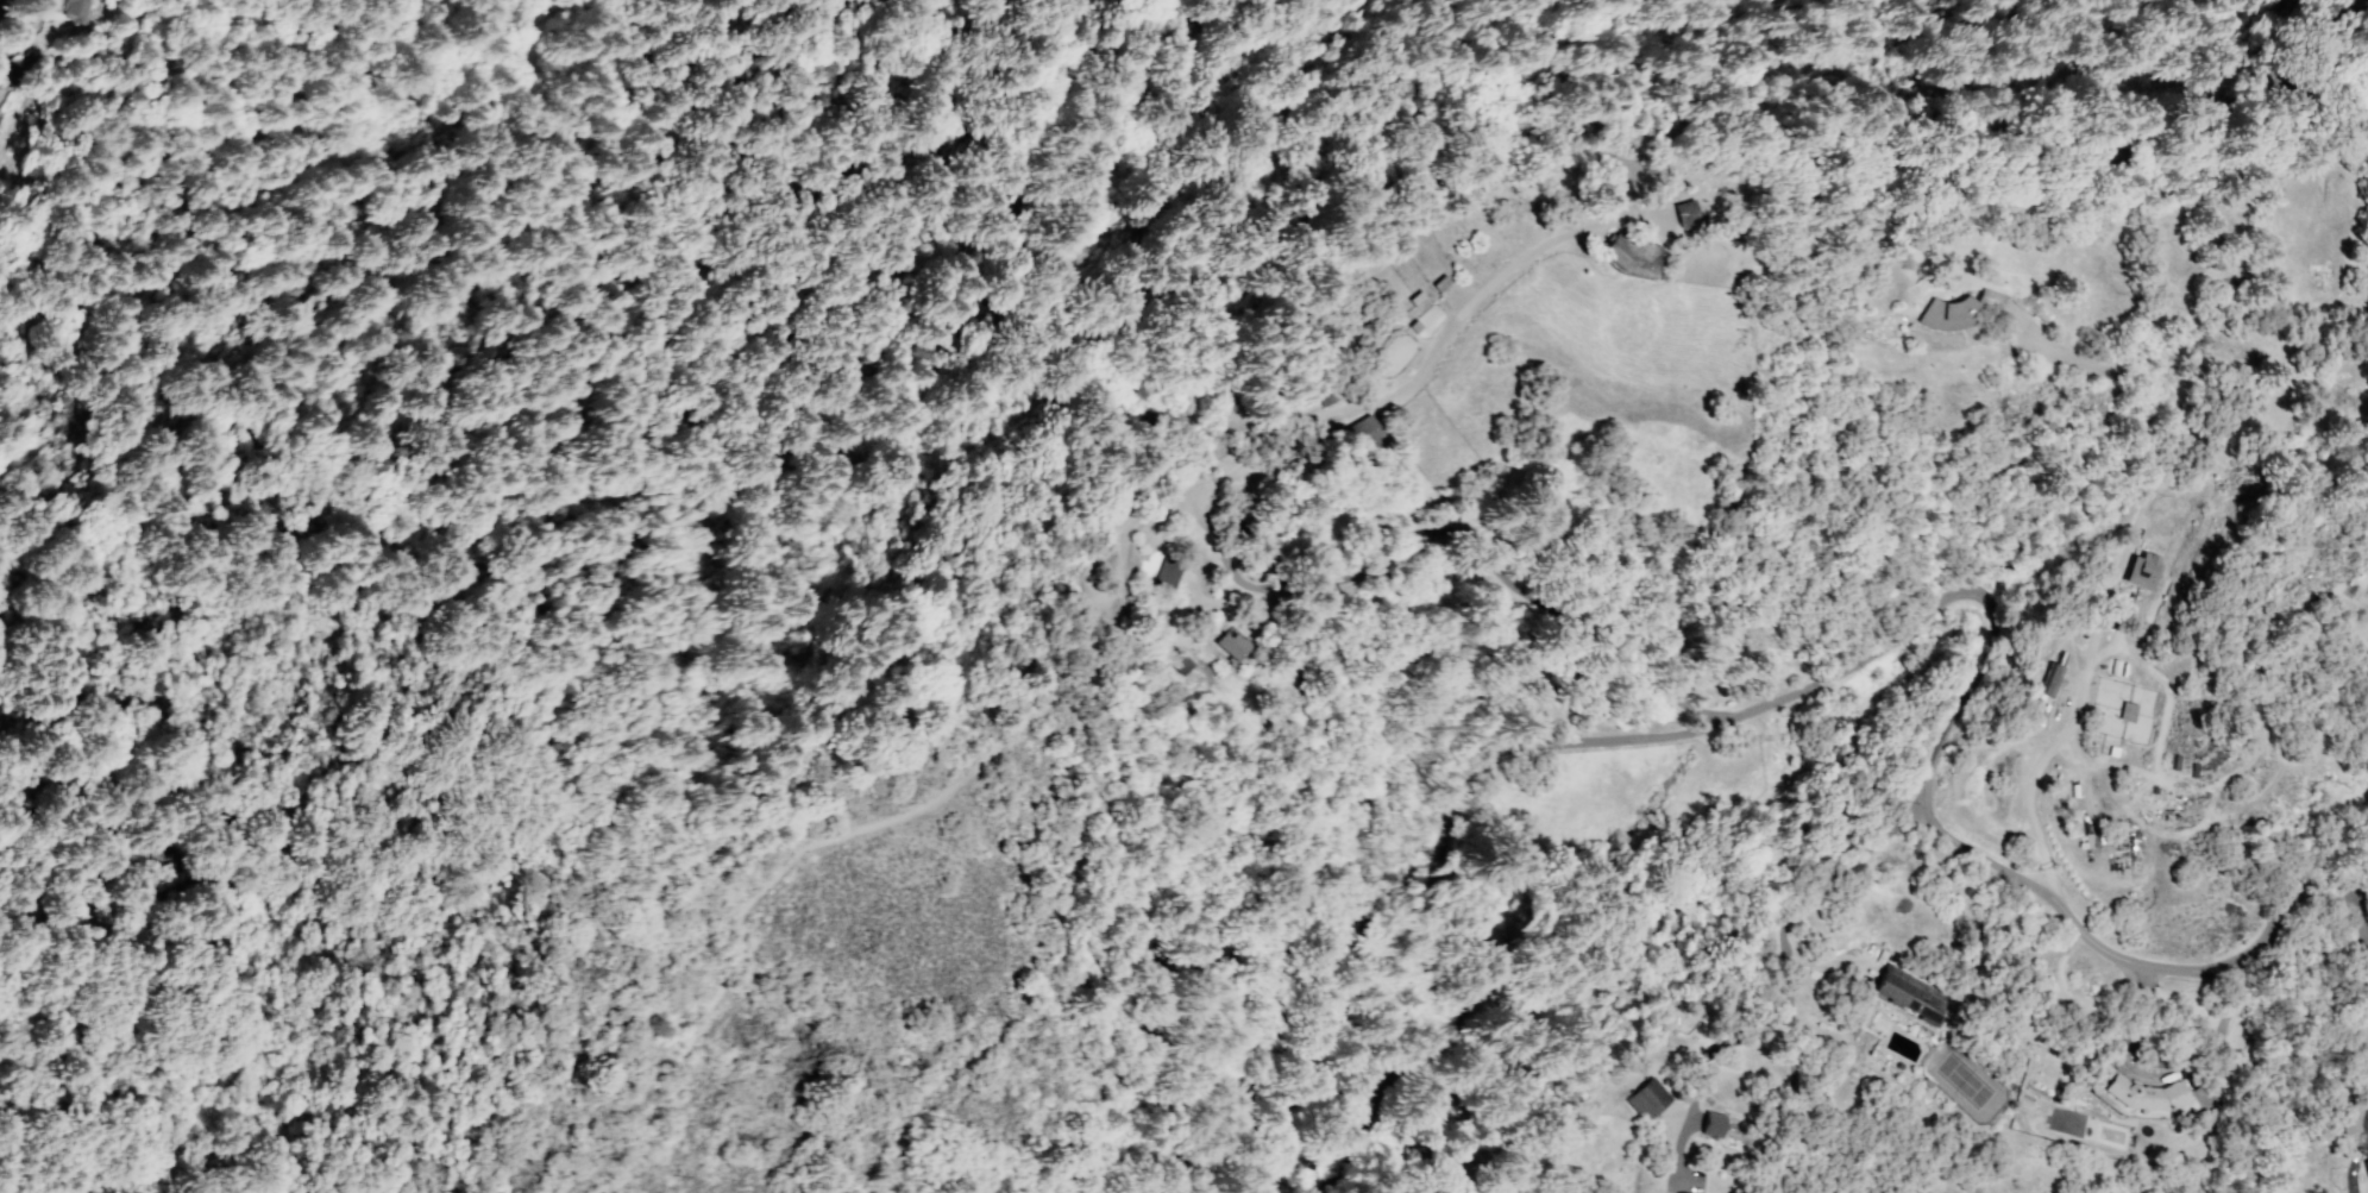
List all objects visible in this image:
road: (1440, 10)
building: (74, 11)
road: (521, 19)
road: (17, 29)
road: (232, 132)
building: (1683, 213)
road: (1267, 230)
building: (1627, 255)
building: (1961, 309)
road: (1438, 360)
building: (1362, 429)
road: (1441, 532)
road: (2122, 553)
building: (2142, 571)
building: (1229, 645)
building: (1180, 663)
road: (1986, 668)
building: (2047, 679)
crop: (2129, 777)
road: (859, 815)
road: (2331, 837)
road: (1785, 967)
building: (1908, 994)
road: (1461, 1034)
road: (2160, 1080)
park: (1966, 1085)
building: (1646, 1099)
building: (2347, 1119)
building: (1710, 1124)

